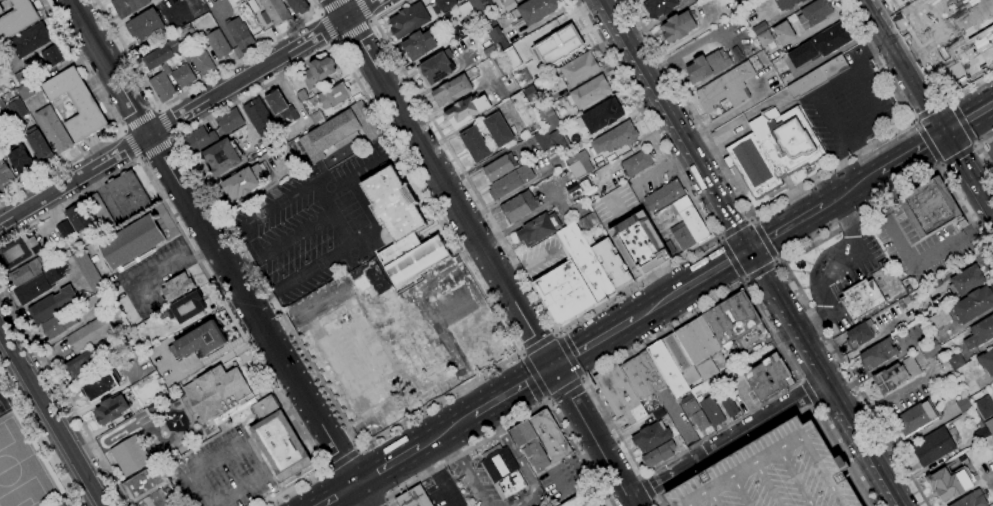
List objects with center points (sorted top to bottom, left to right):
building: (633, 0)
building: (635, 0)
building: (901, 0)
building: (785, 3)
building: (443, 5)
building: (509, 5)
building: (127, 6)
building: (298, 6)
road: (332, 7)
building: (660, 7)
road: (339, 8)
building: (1, 10)
road: (361, 10)
road: (387, 10)
building: (481, 10)
building: (537, 10)
building: (274, 12)
building: (814, 13)
road: (318, 14)
building: (468, 15)
building: (17, 19)
road: (369, 20)
building: (408, 20)
building: (145, 25)
building: (490, 26)
road: (327, 27)
road: (329, 27)
building: (677, 27)
building: (759, 27)
road: (351, 30)
building: (186, 31)
building: (784, 33)
building: (238, 34)
building: (953, 36)
building: (497, 38)
building: (764, 39)
building: (830, 39)
building: (30, 40)
road: (335, 41)
building: (217, 43)
building: (419, 45)
building: (557, 45)
building: (163, 54)
building: (802, 54)
road: (866, 54)
building: (53, 55)
building: (510, 57)
road: (875, 59)
building: (200, 61)
building: (708, 65)
building: (437, 67)
road: (900, 67)
building: (165, 68)
building: (579, 68)
building: (318, 72)
road: (931, 72)
road: (633, 73)
building: (22, 76)
building: (183, 76)
road: (246, 76)
building: (817, 76)
road: (834, 83)
building: (161, 87)
road: (190, 88)
building: (726, 88)
building: (452, 90)
building: (25, 91)
building: (588, 92)
building: (531, 93)
building: (335, 95)
building: (301, 96)
road: (868, 96)
road: (947, 100)
building: (313, 101)
building: (2, 104)
building: (76, 104)
road: (663, 105)
road: (688, 106)
building: (17, 109)
road: (157, 109)
building: (280, 109)
parking lot: (850, 109)
building: (465, 110)
road: (929, 110)
building: (525, 112)
road: (729, 113)
building: (601, 116)
building: (258, 117)
road: (645, 117)
building: (316, 118)
road: (829, 118)
building: (548, 119)
road: (967, 119)
road: (736, 120)
road: (911, 120)
road: (139, 121)
building: (228, 121)
road: (959, 123)
road: (116, 125)
road: (163, 125)
building: (54, 129)
building: (498, 130)
road: (121, 131)
building: (340, 131)
road: (862, 131)
traffic signals: (941, 135)
road: (149, 136)
road: (173, 138)
building: (614, 138)
building: (542, 139)
building: (199, 140)
building: (559, 140)
road: (926, 142)
road: (130, 143)
road: (957, 143)
building: (475, 144)
building: (38, 145)
road: (975, 146)
road: (154, 147)
road: (682, 147)
building: (773, 150)
road: (981, 151)
road: (867, 153)
road: (909, 153)
road: (956, 155)
building: (222, 156)
road: (137, 158)
building: (20, 160)
building: (637, 163)
building: (557, 164)
building: (575, 166)
building: (499, 167)
road: (663, 168)
road: (832, 168)
road: (939, 168)
road: (982, 172)
building: (6, 177)
road: (965, 177)
road: (356, 180)
building: (243, 182)
building: (510, 182)
building: (572, 188)
building: (588, 188)
road: (850, 188)
road: (696, 189)
road: (448, 192)
road: (50, 193)
road: (870, 194)
building: (137, 196)
building: (664, 197)
building: (393, 204)
building: (519, 206)
building: (930, 207)
road: (618, 208)
park: (349, 211)
building: (100, 213)
road: (336, 214)
road: (751, 216)
building: (79, 217)
road: (5, 220)
road: (991, 221)
building: (588, 222)
road: (982, 223)
flagpole: (437, 224)
building: (687, 225)
road: (785, 227)
building: (64, 228)
park: (317, 228)
building: (538, 229)
road: (735, 229)
road: (738, 229)
road: (718, 237)
road: (282, 239)
road: (761, 240)
road: (214, 241)
building: (590, 241)
building: (130, 242)
park: (293, 242)
road: (730, 243)
building: (640, 244)
road: (639, 245)
traffic signals: (750, 249)
building: (397, 250)
building: (18, 251)
road: (471, 252)
road: (861, 253)
park: (269, 256)
traffic signals: (738, 256)
road: (511, 257)
road: (732, 257)
building: (417, 261)
building: (584, 261)
road: (776, 261)
road: (778, 261)
road: (914, 264)
building: (612, 265)
road: (816, 266)
road: (745, 268)
road: (759, 269)
building: (88, 271)
building: (26, 272)
road: (206, 275)
parking lot: (147, 279)
road: (744, 279)
building: (967, 280)
road: (661, 283)
road: (690, 283)
building: (40, 284)
building: (177, 287)
building: (564, 292)
building: (861, 298)
building: (106, 303)
railway: (655, 303)
road: (422, 304)
road: (764, 304)
building: (973, 304)
building: (52, 305)
railway: (659, 307)
building: (185, 308)
building: (113, 311)
parking lot: (464, 319)
road: (810, 319)
building: (938, 319)
building: (59, 324)
building: (734, 324)
road: (790, 331)
building: (980, 333)
building: (89, 334)
road: (782, 334)
building: (860, 334)
road: (555, 335)
road: (557, 335)
road: (2, 336)
building: (200, 340)
road: (592, 343)
road: (539, 344)
road: (866, 344)
building: (699, 347)
building: (929, 349)
road: (522, 353)
building: (877, 354)
road: (520, 355)
road: (568, 355)
road: (795, 356)
road: (208, 358)
building: (681, 361)
building: (955, 361)
building: (986, 362)
building: (84, 364)
traffic signals: (552, 367)
building: (667, 369)
building: (387, 371)
road: (816, 372)
road: (533, 375)
building: (643, 375)
building: (894, 376)
road: (581, 377)
building: (768, 377)
road: (826, 377)
road: (580, 380)
road: (801, 381)
road: (850, 384)
building: (100, 386)
road: (469, 388)
road: (565, 388)
road: (512, 390)
road: (816, 391)
building: (216, 392)
road: (807, 393)
building: (619, 394)
road: (829, 395)
road: (66, 396)
building: (723, 396)
road: (547, 399)
road: (551, 400)
park: (3, 405)
road: (812, 405)
building: (963, 405)
building: (984, 406)
building: (111, 410)
building: (711, 411)
building: (693, 412)
road: (580, 414)
building: (658, 414)
road: (52, 417)
building: (916, 418)
road: (516, 421)
road: (780, 421)
building: (989, 425)
road: (750, 426)
road: (445, 430)
building: (981, 431)
building: (550, 435)
building: (651, 437)
building: (278, 440)
road: (39, 441)
road: (100, 442)
road: (359, 446)
building: (530, 446)
building: (932, 447)
road: (358, 449)
road: (782, 449)
building: (659, 454)
building: (132, 455)
road: (216, 456)
road: (856, 459)
road: (341, 460)
road: (518, 460)
road: (250, 461)
road: (386, 465)
road: (468, 467)
park: (19, 470)
road: (325, 470)
parking lot: (224, 472)
building: (504, 472)
road: (639, 473)
road: (686, 473)
building: (773, 474)
parking lot: (773, 474)
road: (429, 477)
road: (641, 477)
road: (799, 477)
parking lot: (565, 478)
parking lot: (473, 482)
building: (949, 482)
building: (145, 484)
road: (619, 484)
road: (773, 484)
road: (201, 487)
road: (647, 487)
road: (651, 487)
parking lot: (442, 490)
road: (745, 491)
road: (235, 492)
road: (337, 495)
road: (362, 495)
building: (413, 498)
parking lot: (529, 498)
road: (718, 498)
building: (161, 499)
road: (386, 499)
road: (655, 500)
building: (971, 500)
flagpole: (67, 501)
building: (576, 501)
road: (378, 503)
road: (211, 505)

